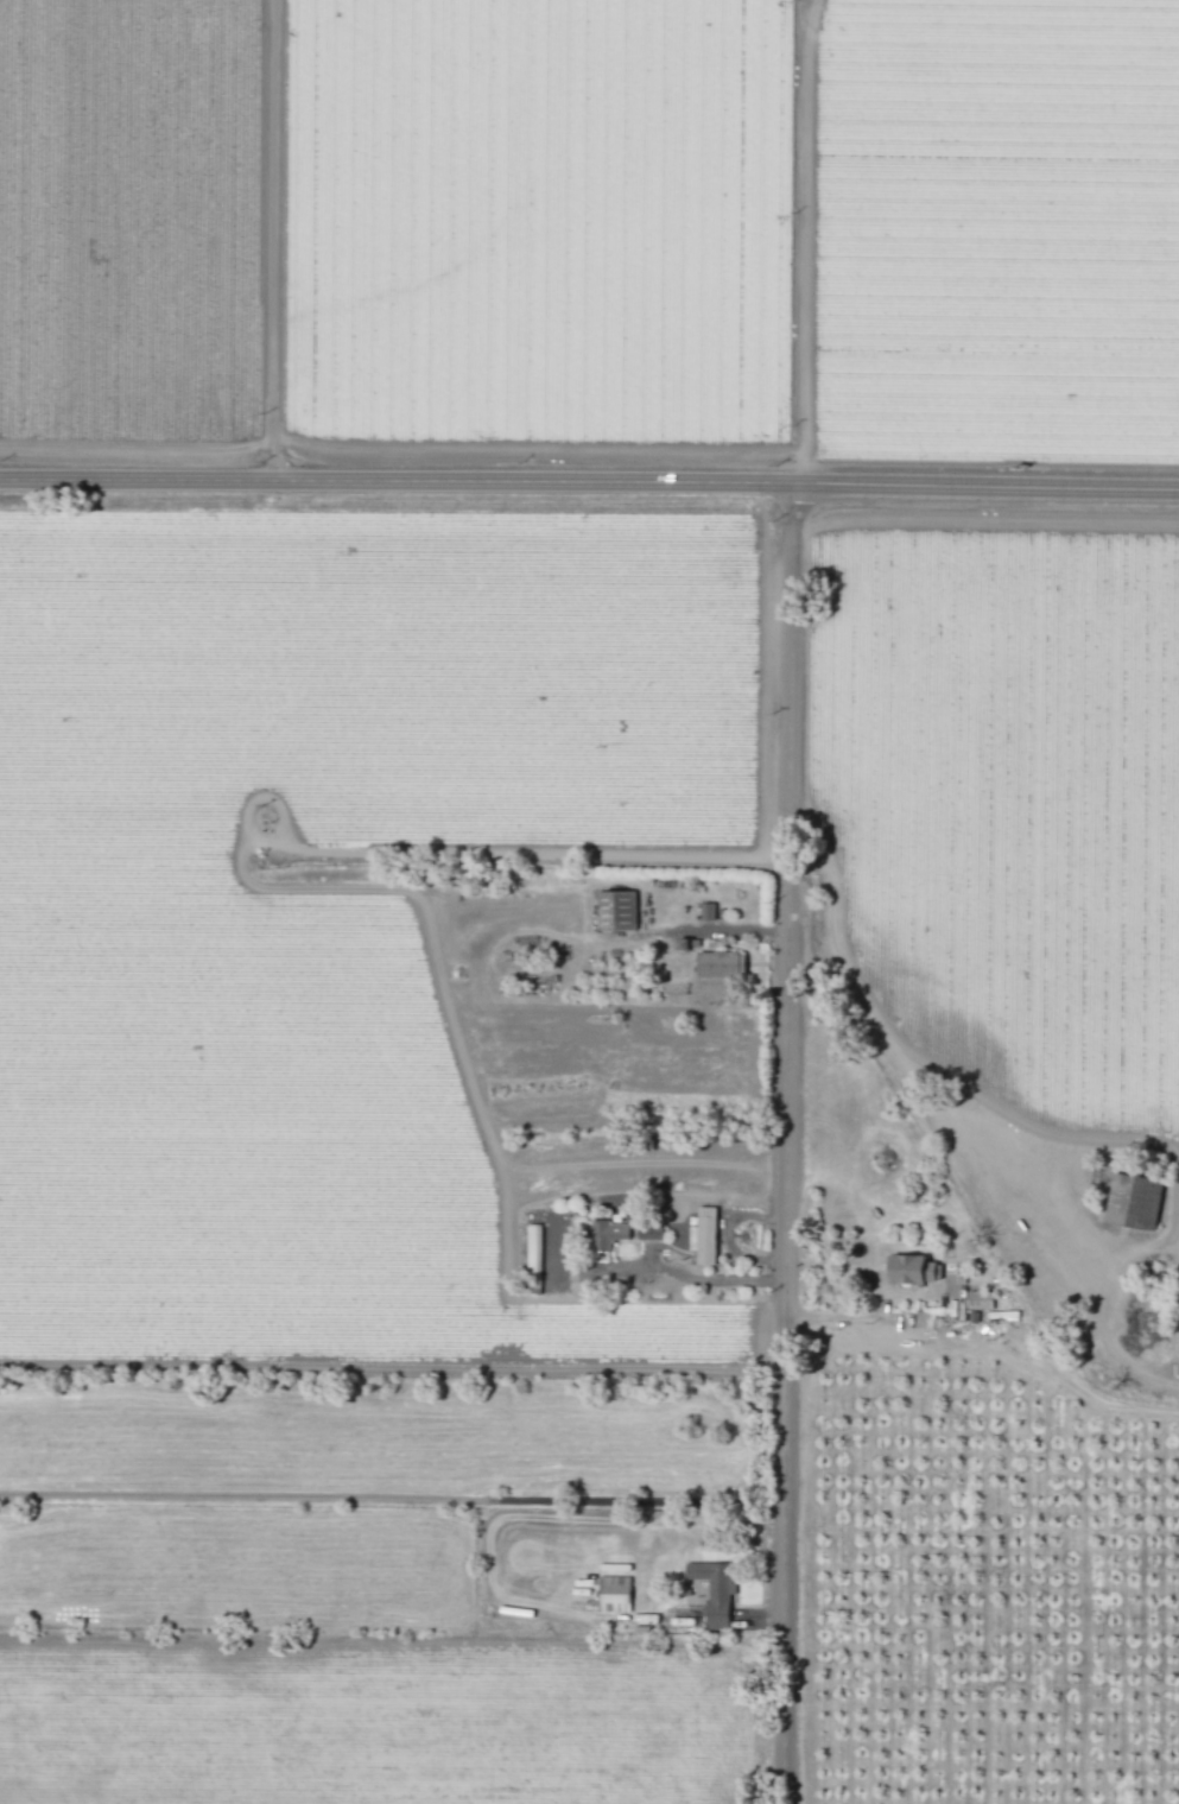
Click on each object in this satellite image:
road: (273, 240)
road: (589, 482)
building: (615, 911)
building: (706, 912)
road: (731, 929)
building: (720, 964)
road: (874, 1015)
road: (794, 1144)
building: (1133, 1201)
building: (649, 1233)
building: (607, 1234)
building: (703, 1236)
building: (533, 1259)
building: (912, 1270)
road: (702, 1278)
building: (978, 1299)
road: (867, 1317)
road: (395, 1498)
building: (715, 1590)
building: (614, 1594)
crop: (378, 1720)

